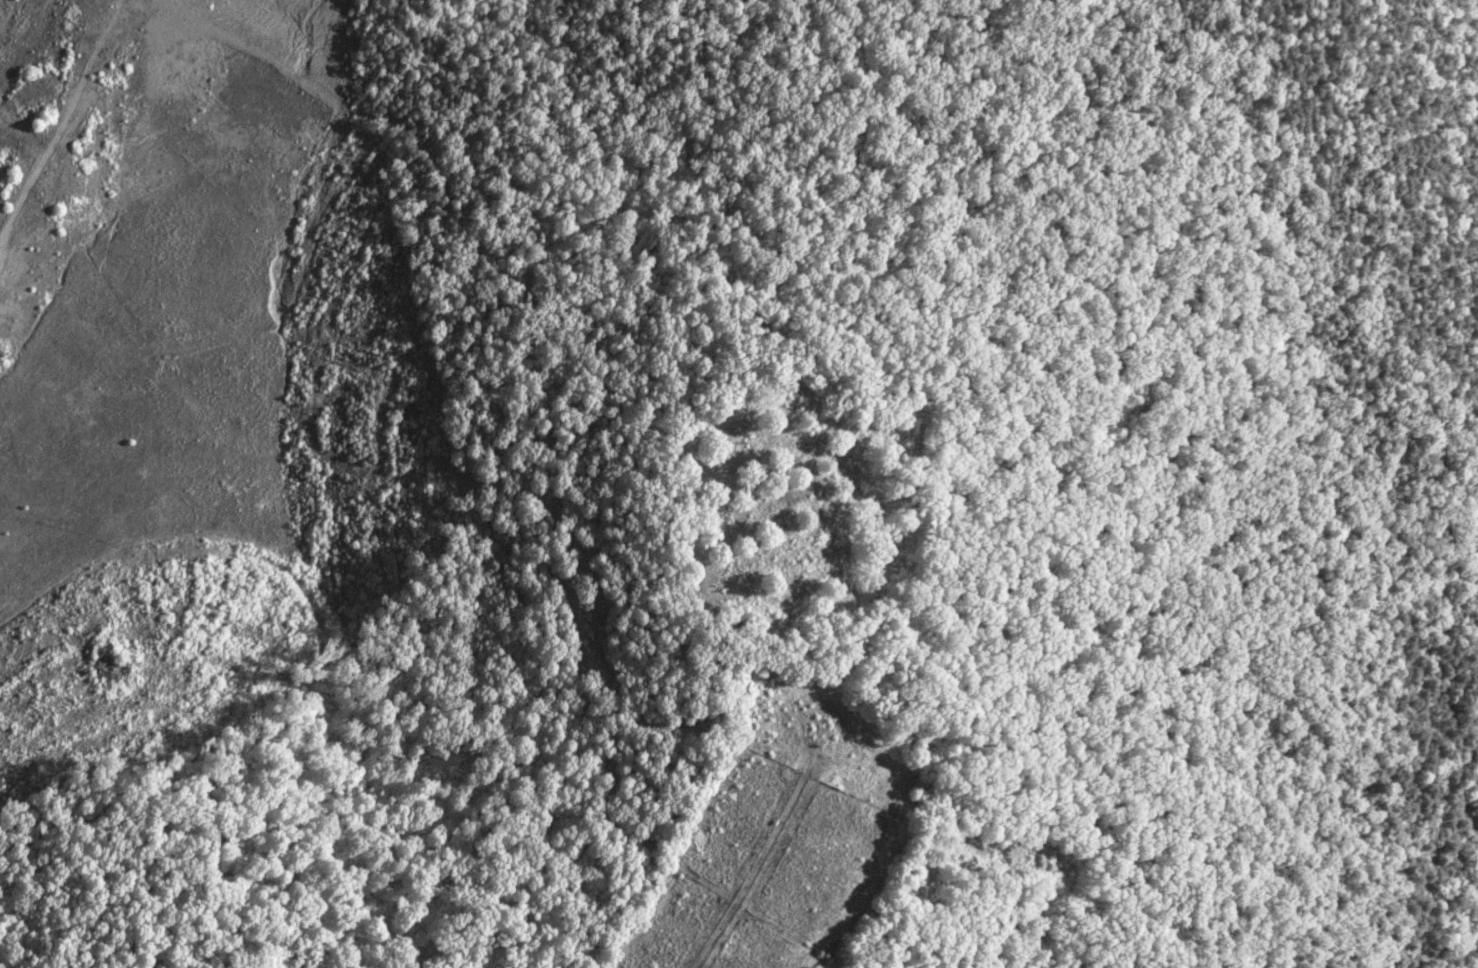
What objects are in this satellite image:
road: (56, 128)
quarry: (152, 263)

